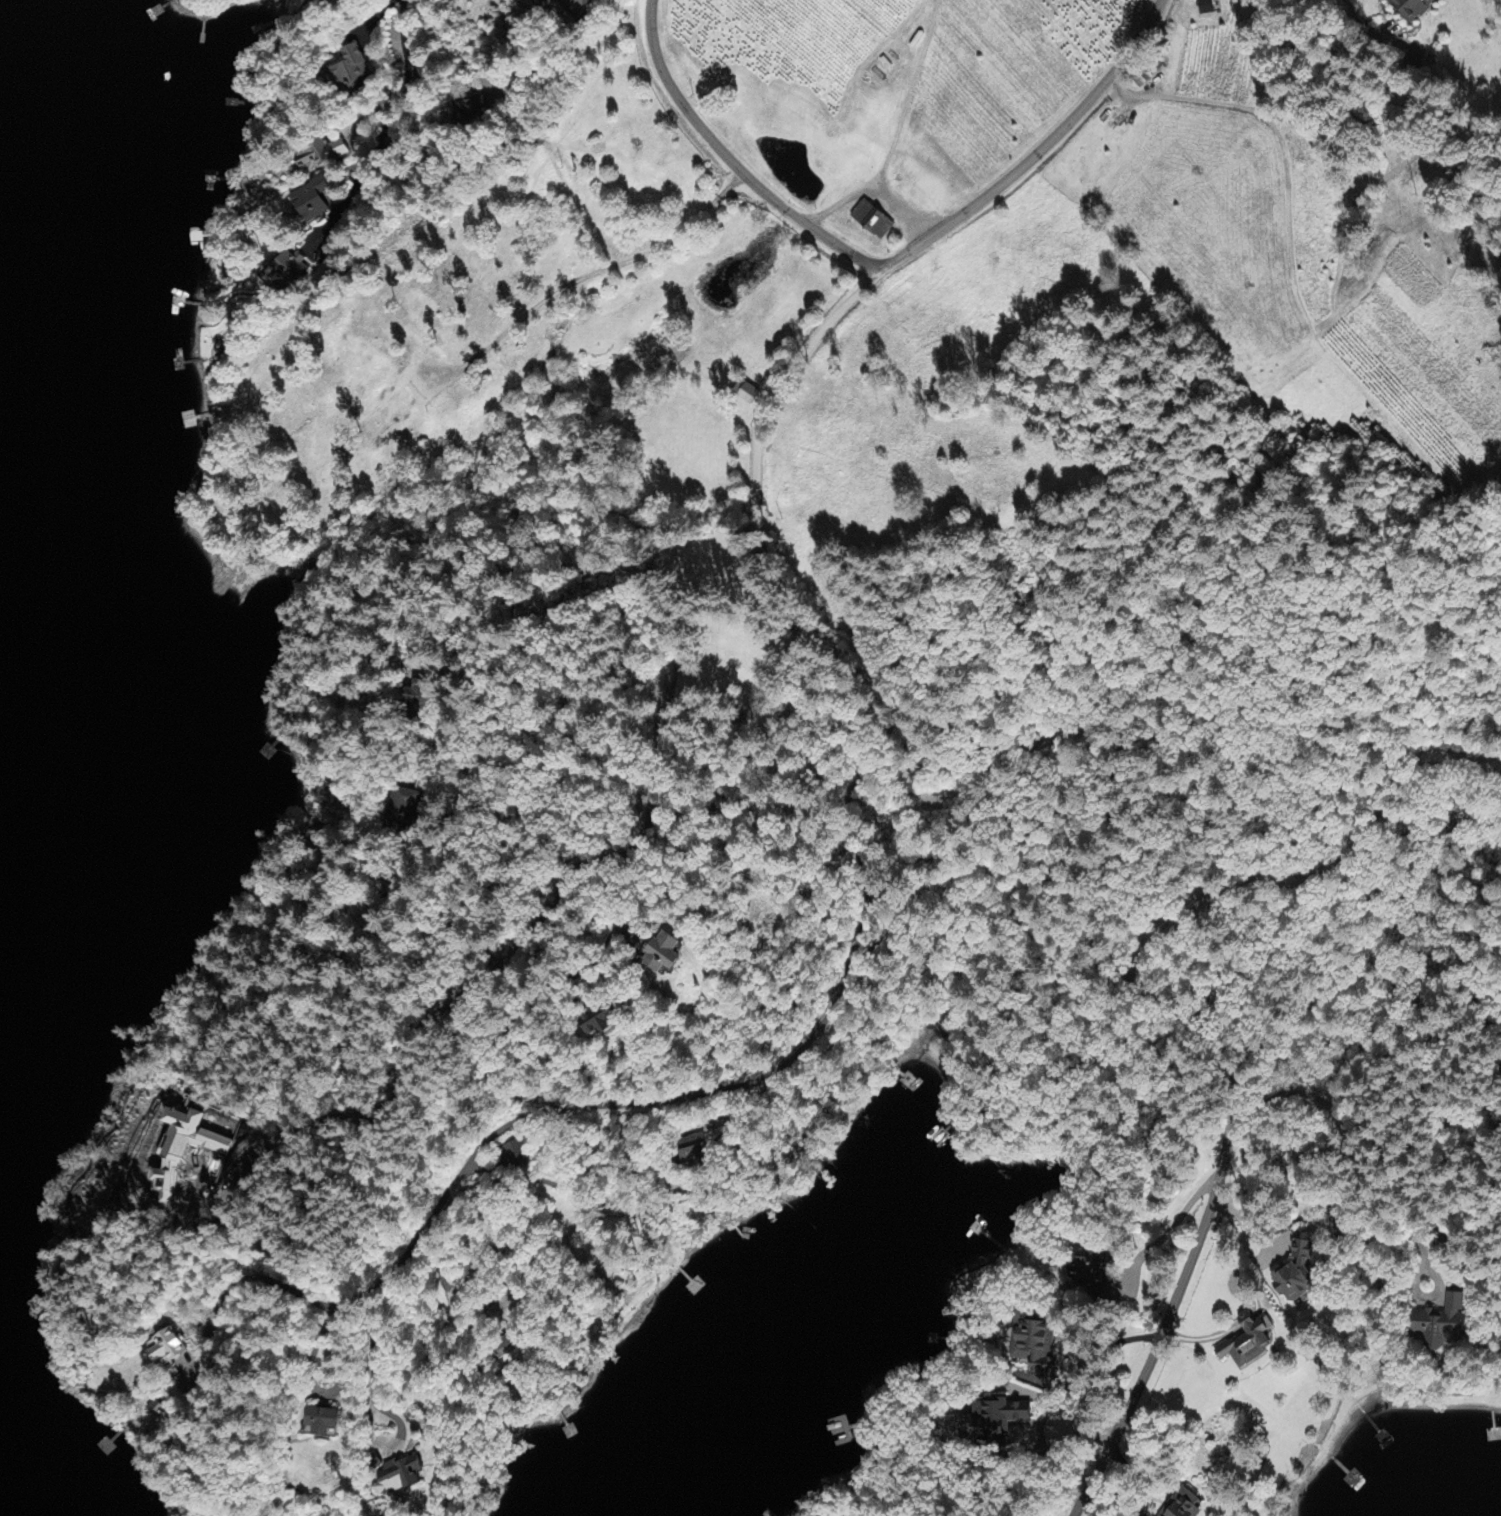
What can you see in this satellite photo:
building: (583, 2)
building: (1205, 7)
building: (1411, 9)
road: (580, 16)
road: (403, 61)
building: (351, 74)
building: (466, 110)
building: (319, 156)
road: (729, 158)
building: (311, 201)
building: (872, 221)
building: (287, 271)
building: (745, 393)
river: (147, 571)
building: (420, 699)
road: (928, 710)
building: (402, 806)
building: (660, 955)
building: (595, 1022)
road: (675, 1100)
building: (693, 1151)
building: (515, 1157)
building: (1092, 1264)
building: (1296, 1275)
road: (1182, 1282)
building: (1441, 1325)
building: (1034, 1342)
building: (1247, 1343)
building: (166, 1349)
building: (507, 1351)
building: (155, 1411)
building: (996, 1417)
building: (321, 1423)
building: (398, 1478)
building: (1180, 1505)

